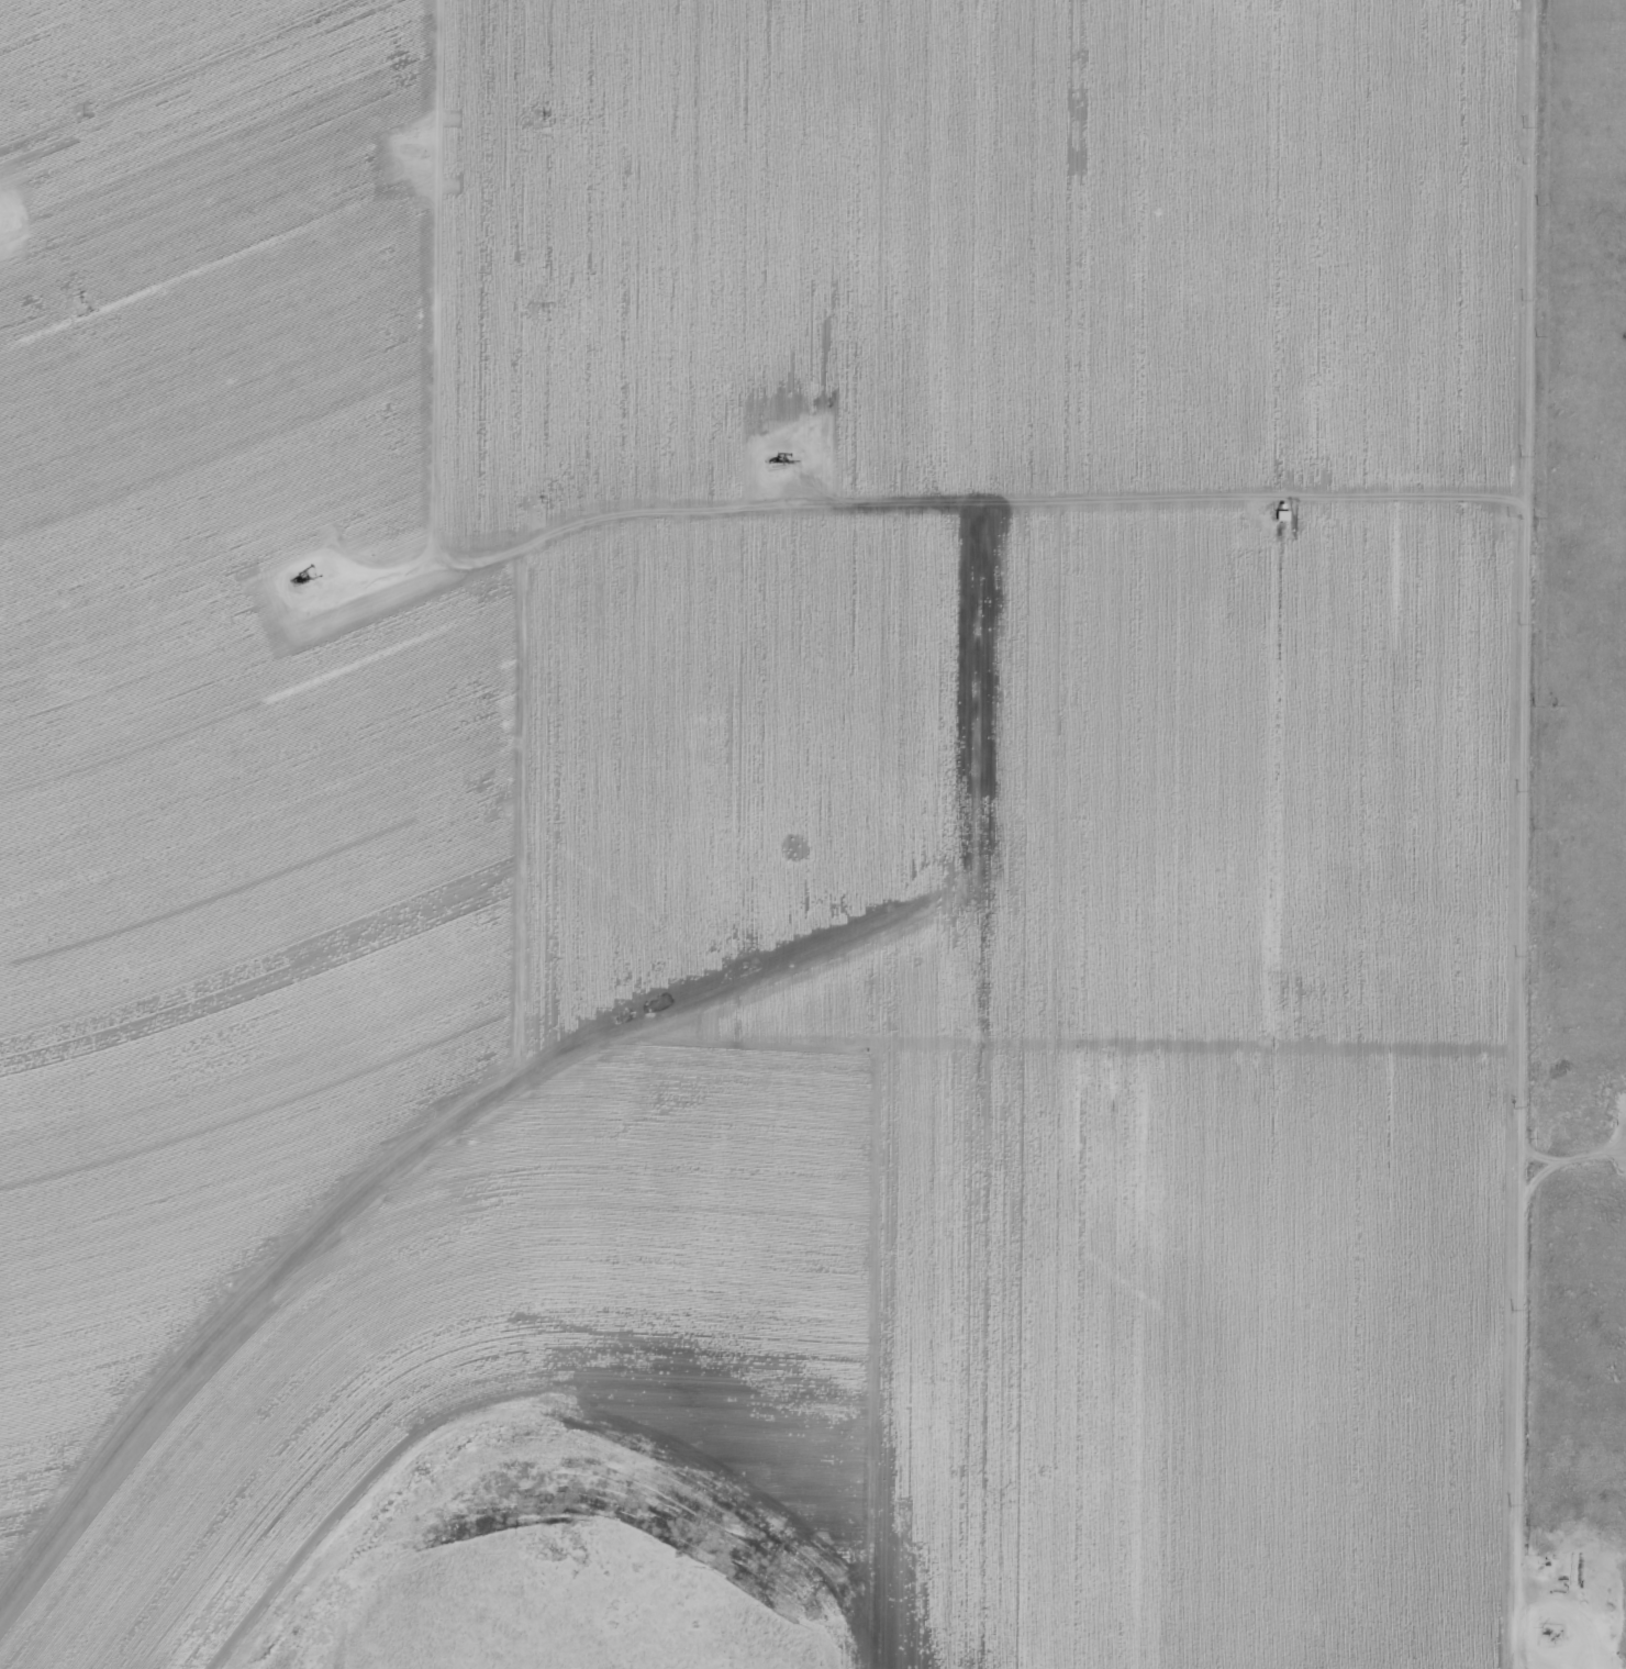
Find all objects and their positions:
road: (1496, 834)

